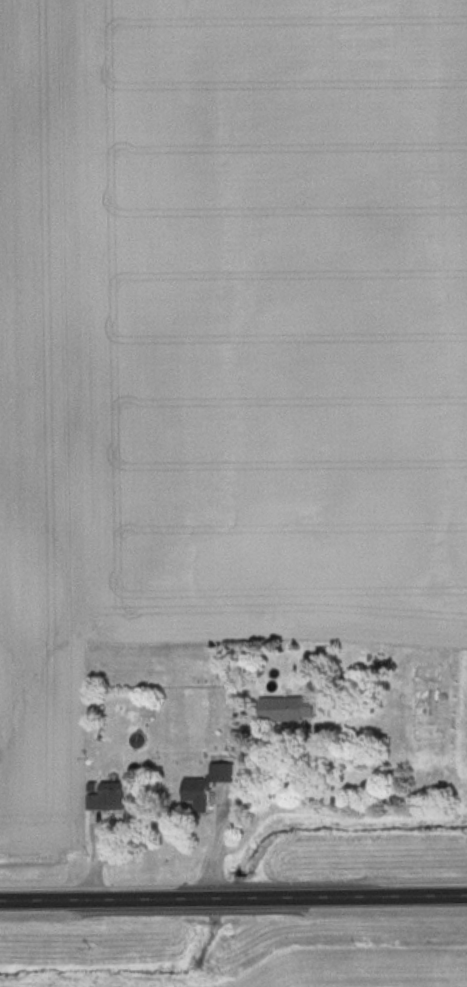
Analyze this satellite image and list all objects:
building: (431, 699)
building: (289, 707)
building: (208, 785)
building: (110, 795)
road: (225, 816)
road: (233, 901)

